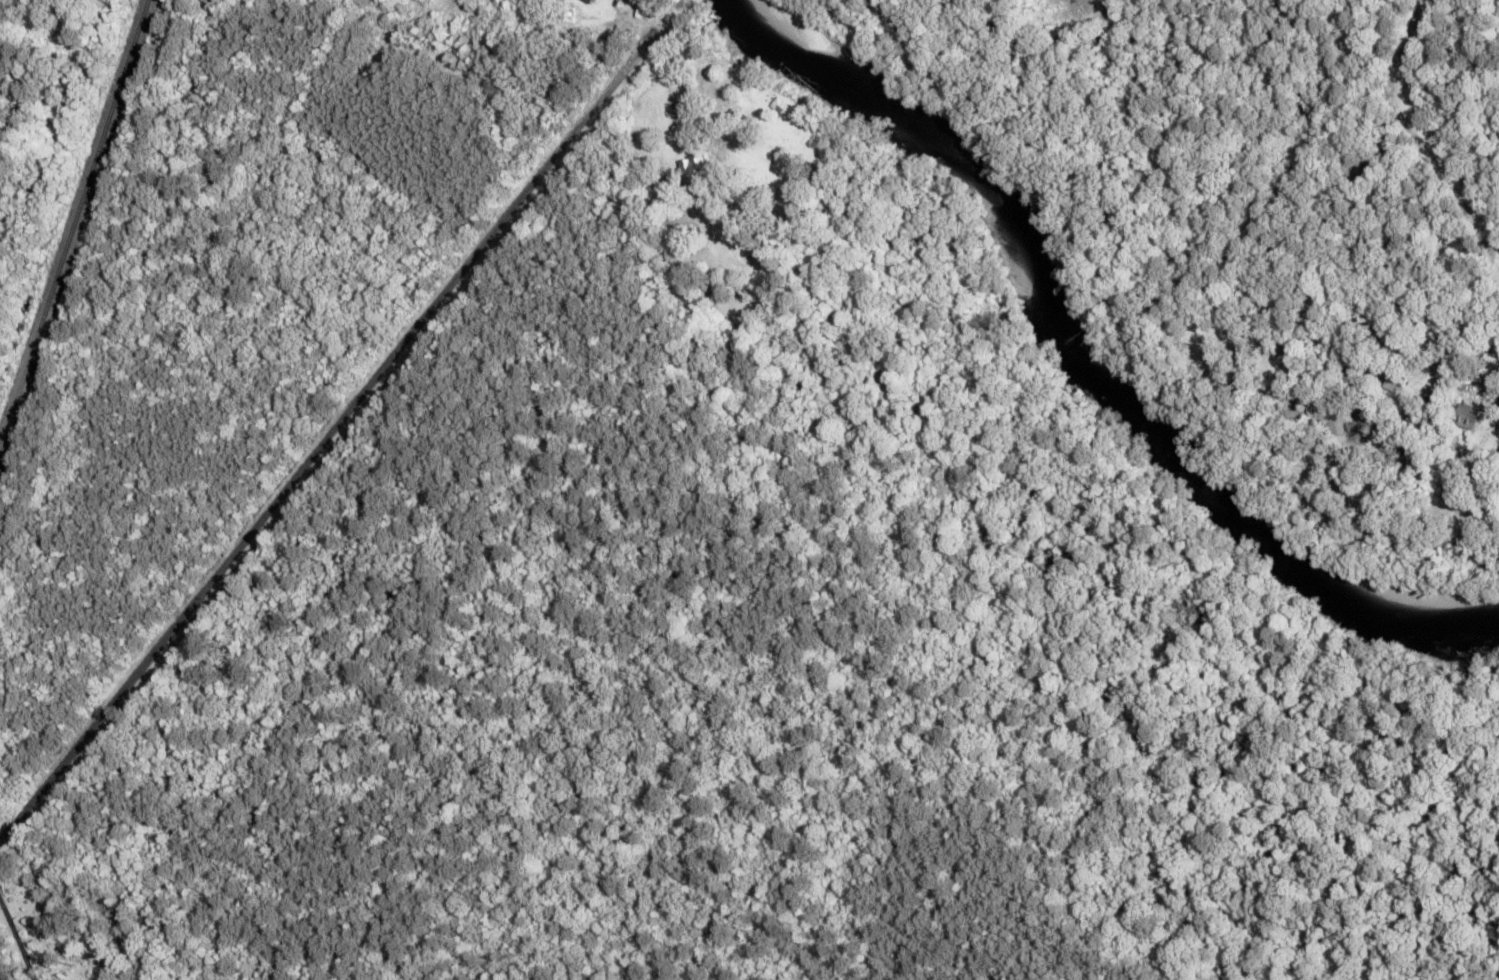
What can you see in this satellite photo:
road: (1419, 133)
building: (693, 165)
railway: (73, 221)
river: (1075, 360)
road: (329, 430)

